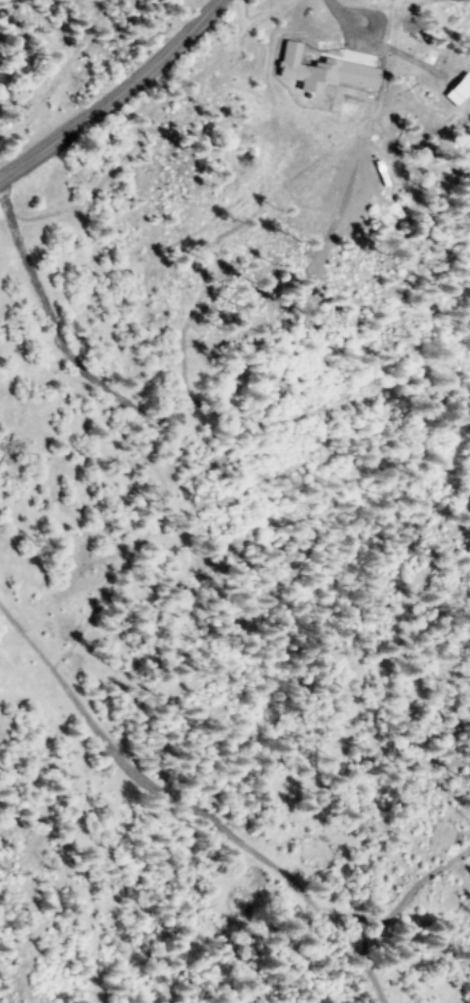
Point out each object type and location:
building: (320, 71)
road: (119, 93)

